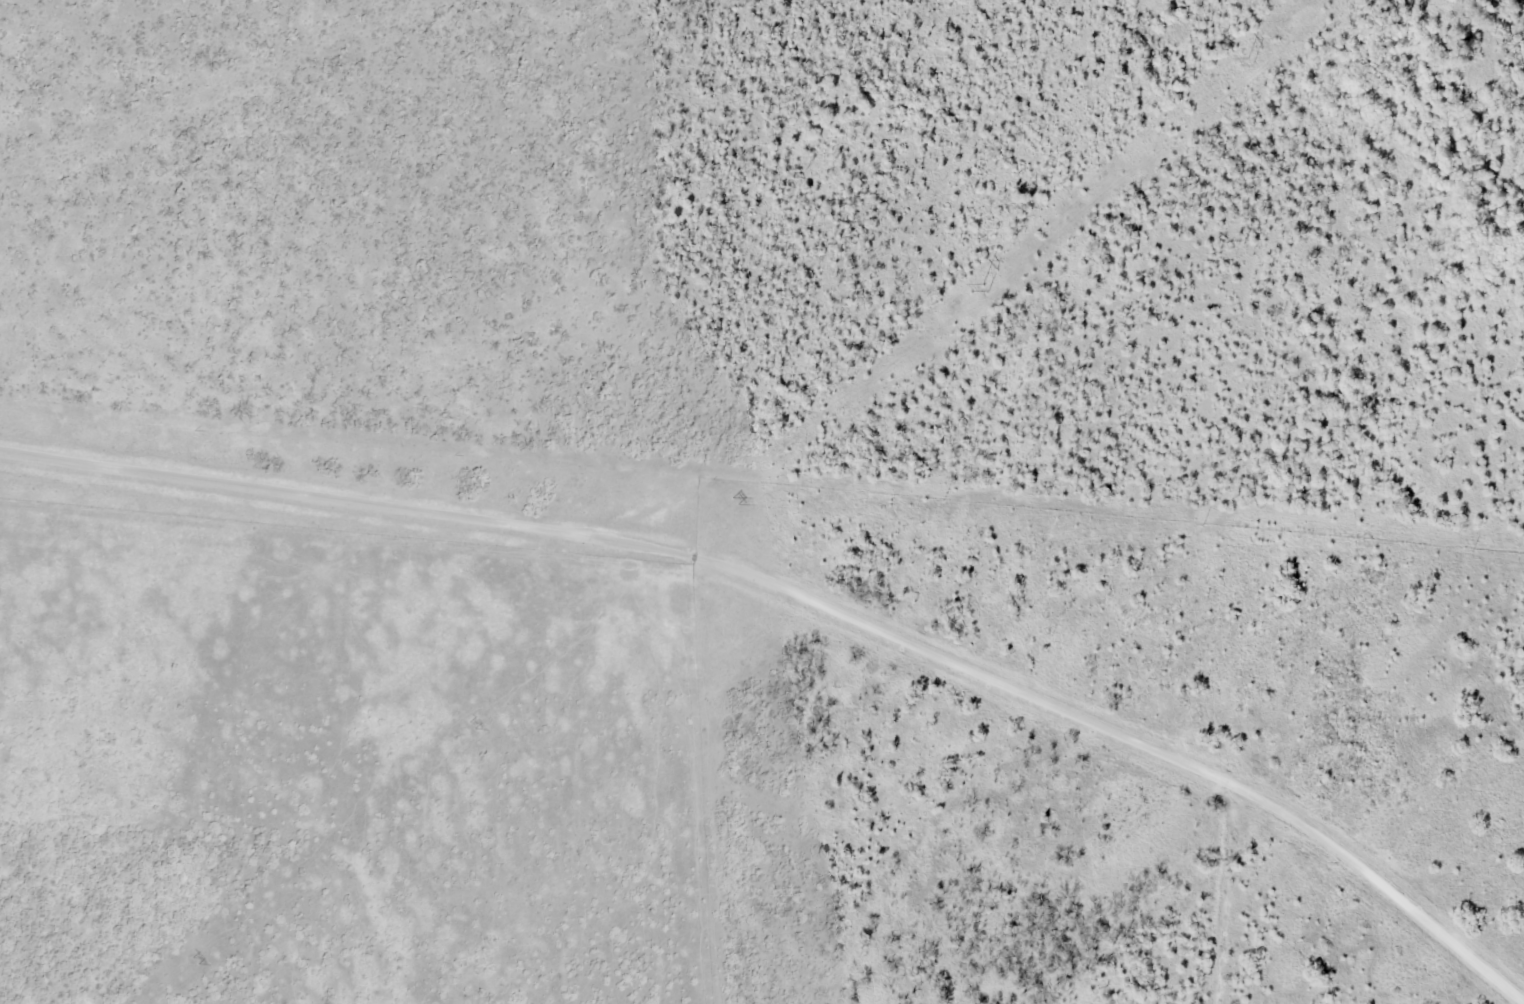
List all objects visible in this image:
power tower: (1251, 63)
power tower: (987, 288)
power tower: (735, 501)
road: (806, 598)
power tower: (473, 725)
power tower: (197, 960)

